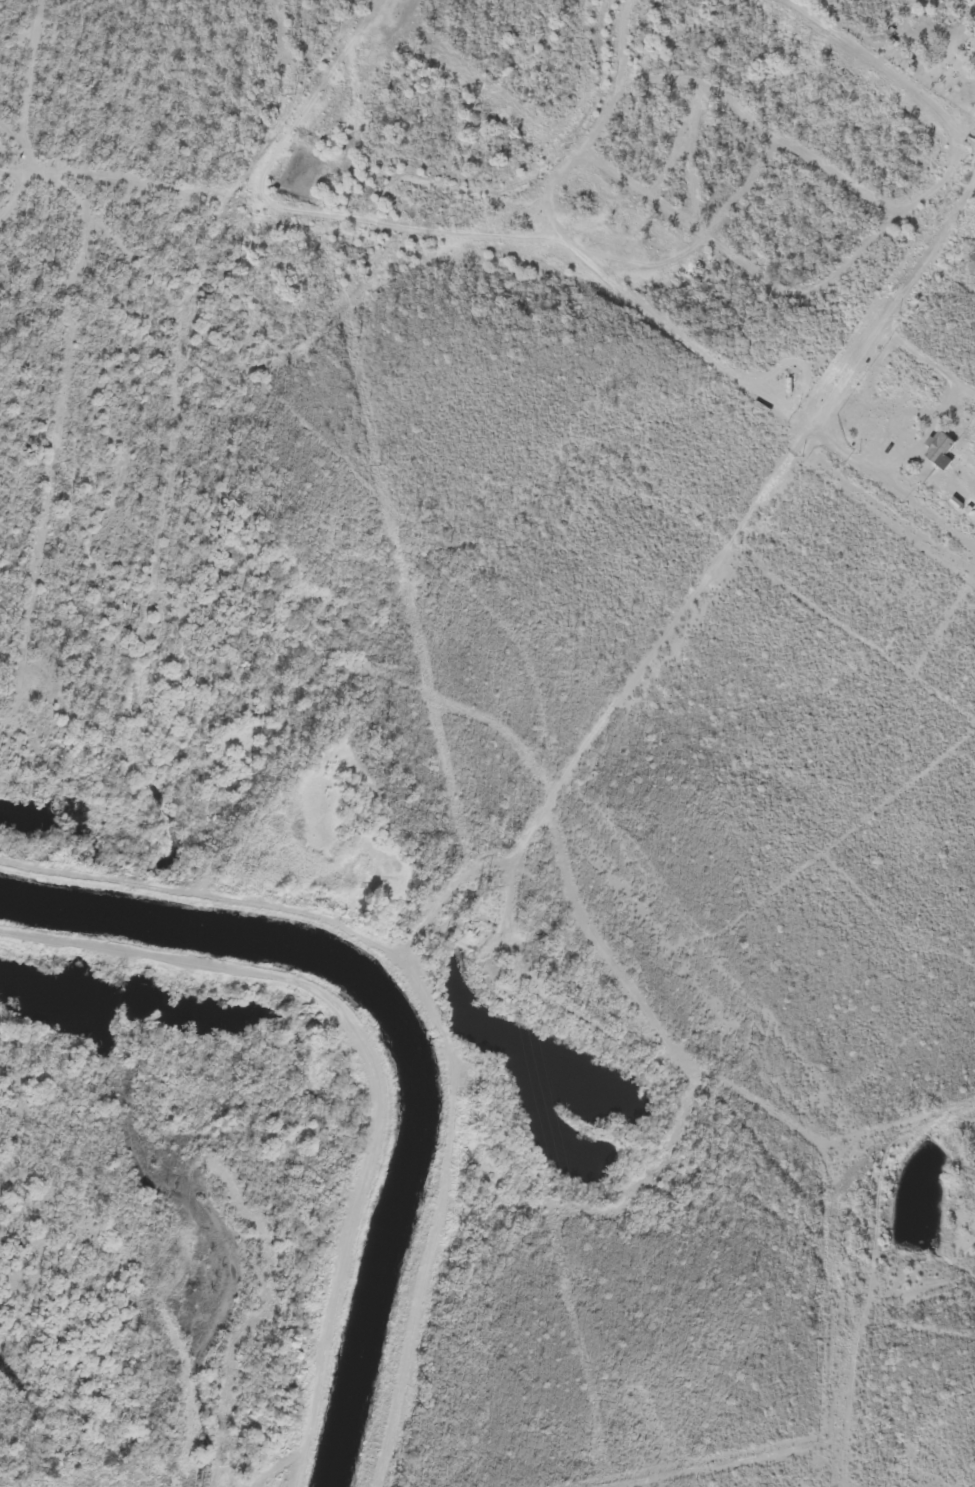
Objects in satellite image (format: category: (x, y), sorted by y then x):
power tower: (297, 93)
road: (178, 145)
building: (942, 446)
power tower: (384, 464)
power tower: (483, 888)
road: (541, 891)
road: (552, 1241)
power tower: (607, 1445)

